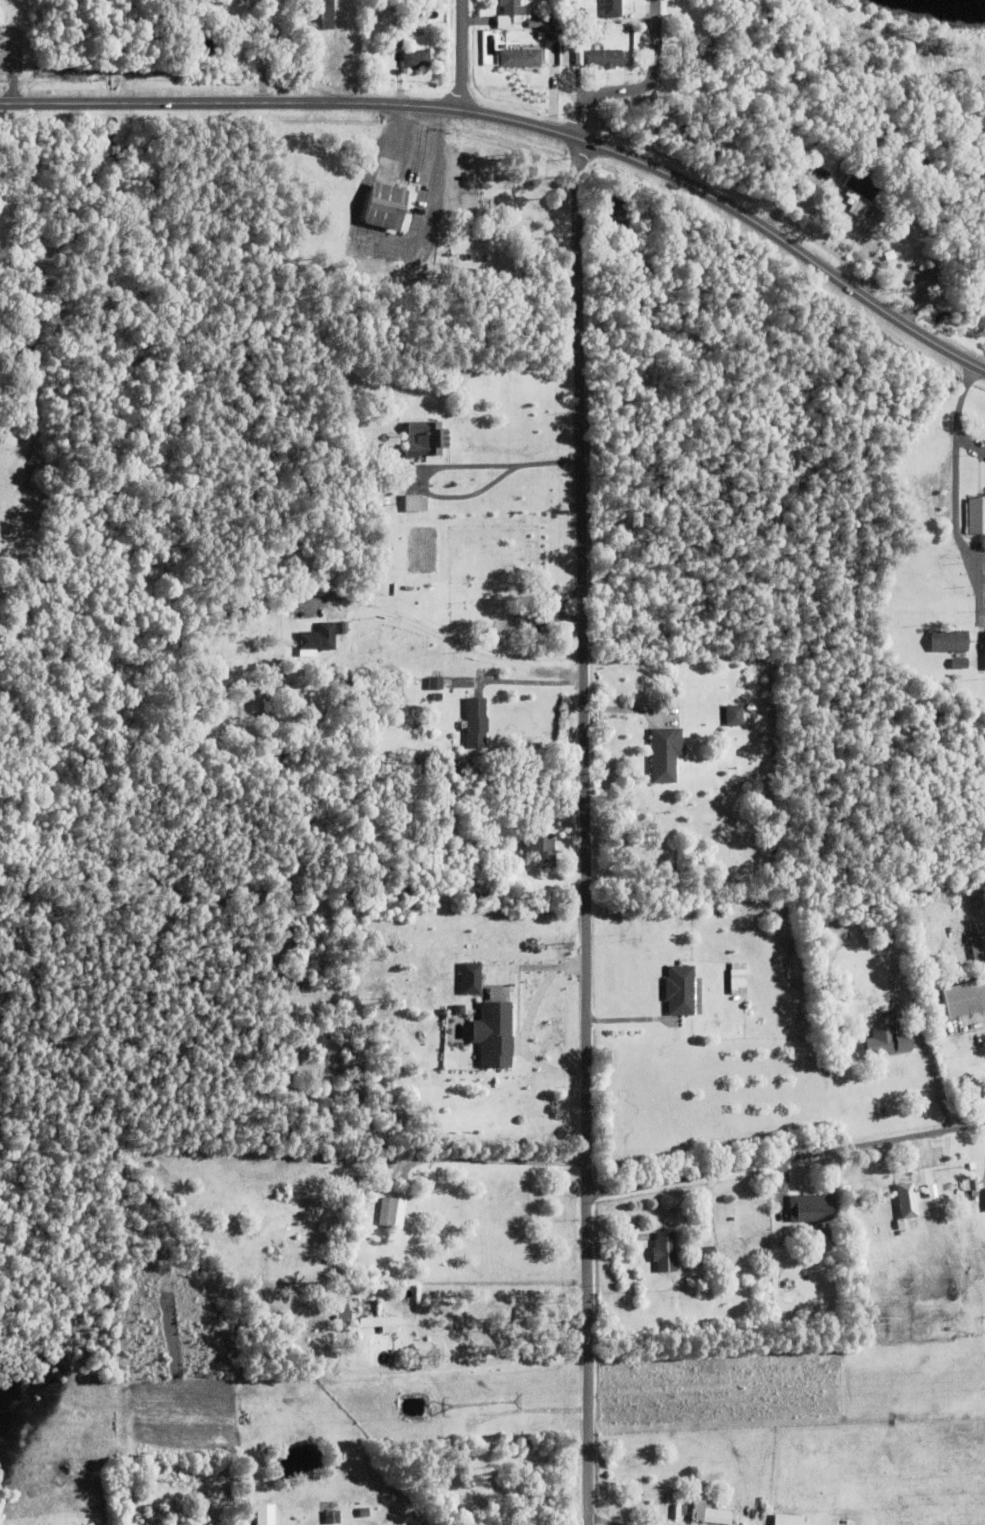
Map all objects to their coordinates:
building: (392, 1)
building: (611, 9)
building: (509, 14)
building: (320, 16)
building: (551, 22)
building: (534, 26)
building: (398, 30)
building: (396, 43)
building: (544, 44)
building: (409, 46)
building: (566, 51)
building: (697, 51)
road: (463, 55)
building: (415, 60)
building: (519, 60)
building: (604, 61)
road: (641, 87)
road: (524, 122)
building: (784, 155)
building: (826, 157)
building: (861, 191)
building: (602, 194)
building: (384, 211)
building: (615, 215)
building: (638, 226)
building: (899, 245)
building: (889, 257)
building: (639, 293)
road: (957, 417)
building: (425, 436)
building: (380, 467)
road: (508, 472)
building: (417, 502)
building: (976, 513)
road: (955, 528)
road: (980, 557)
parking lot: (976, 589)
building: (529, 619)
building: (495, 624)
building: (317, 637)
building: (948, 639)
road: (463, 649)
building: (959, 662)
building: (435, 681)
road: (527, 681)
building: (954, 681)
building: (437, 696)
building: (733, 714)
building: (476, 721)
building: (665, 752)
road: (586, 831)
building: (539, 846)
building: (669, 929)
building: (491, 937)
building: (500, 939)
building: (476, 945)
building: (977, 945)
building: (703, 963)
road: (528, 968)
building: (472, 978)
building: (738, 981)
building: (680, 989)
building: (833, 995)
building: (966, 998)
building: (460, 1008)
building: (835, 1018)
building: (494, 1033)
building: (881, 1044)
road: (786, 1158)
building: (973, 1185)
building: (390, 1186)
building: (984, 1191)
building: (373, 1199)
building: (909, 1200)
building: (812, 1207)
building: (303, 1209)
building: (392, 1211)
building: (812, 1229)
building: (664, 1251)
building: (705, 1254)
building: (343, 1310)
building: (381, 1322)
building: (357, 1349)
road: (458, 1362)
power tower: (503, 1404)
building: (470, 1457)
building: (434, 1464)
building: (364, 1512)
building: (267, 1513)
building: (717, 1515)
building: (332, 1517)
road: (601, 1520)
building: (788, 1520)

